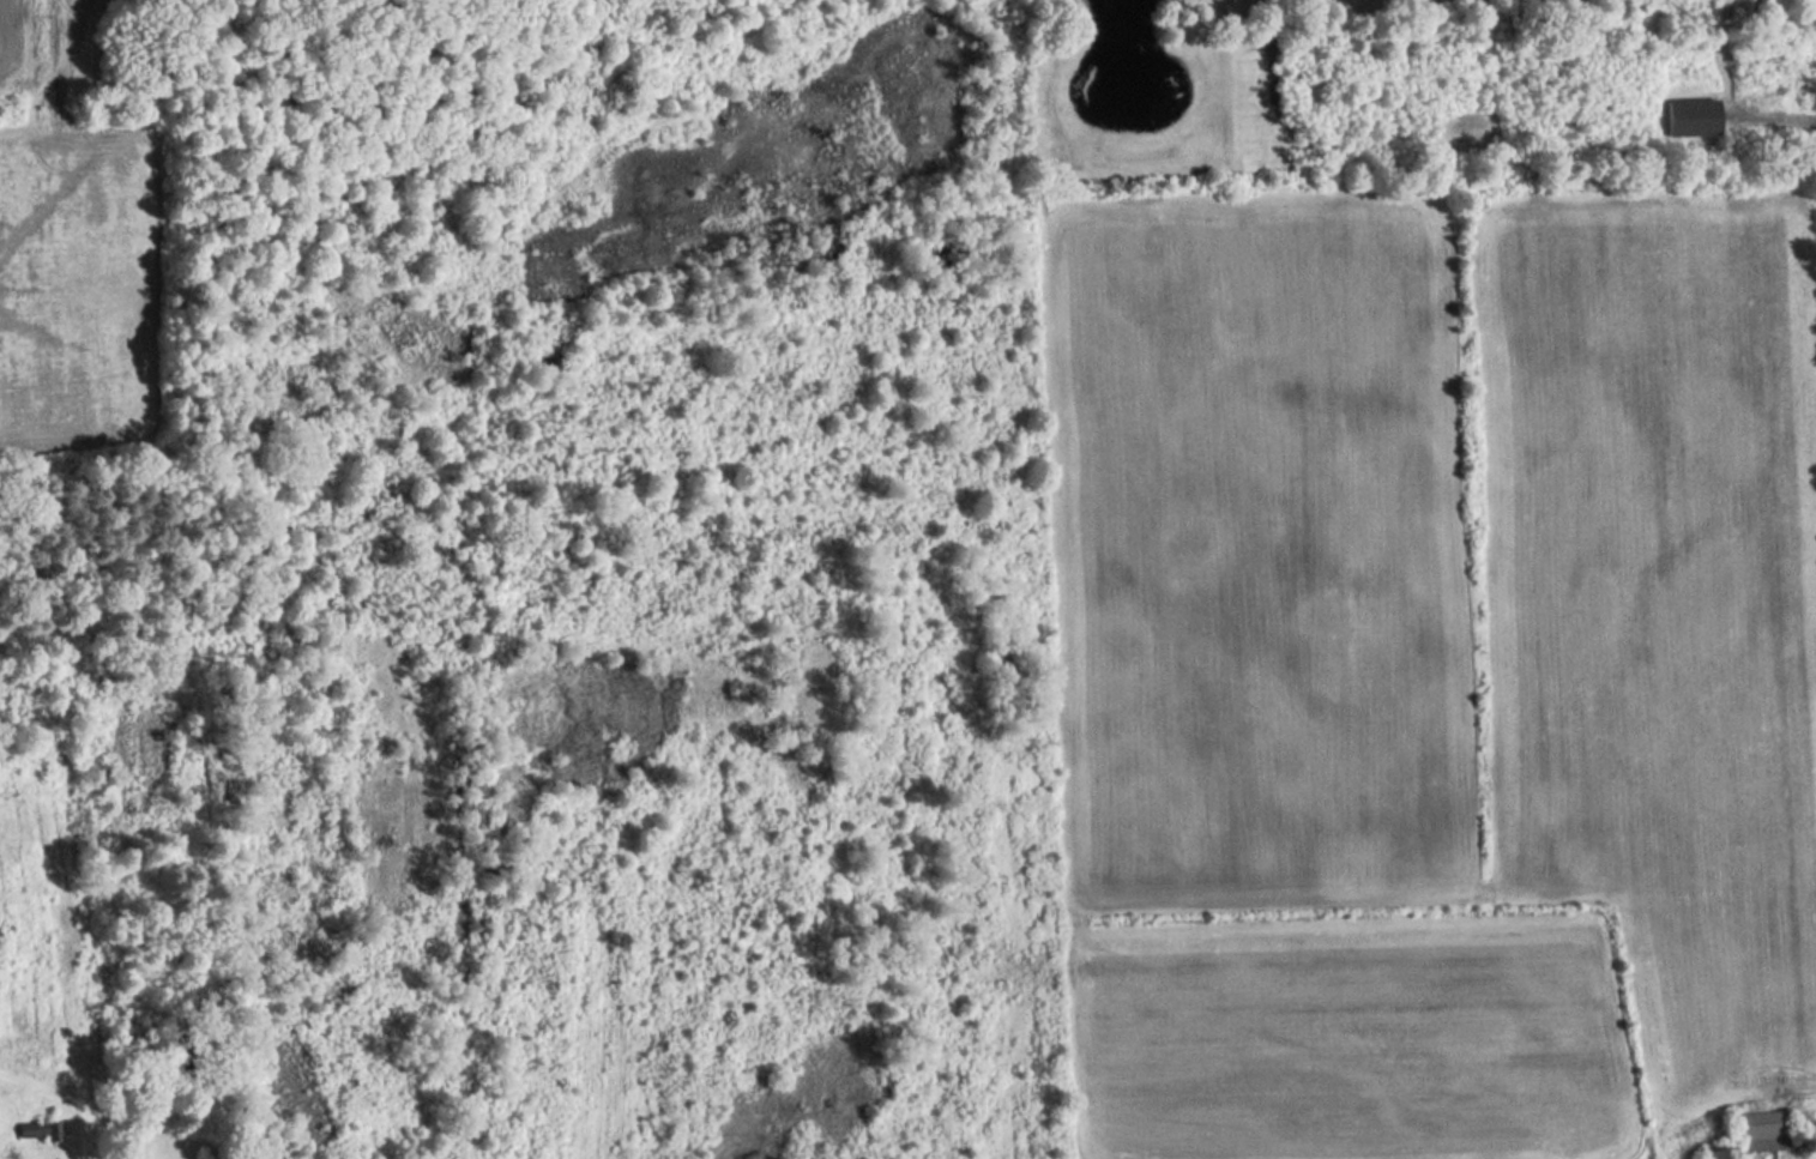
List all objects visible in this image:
building: (1693, 119)
building: (38, 1133)
building: (1761, 1133)
building: (1718, 1154)

